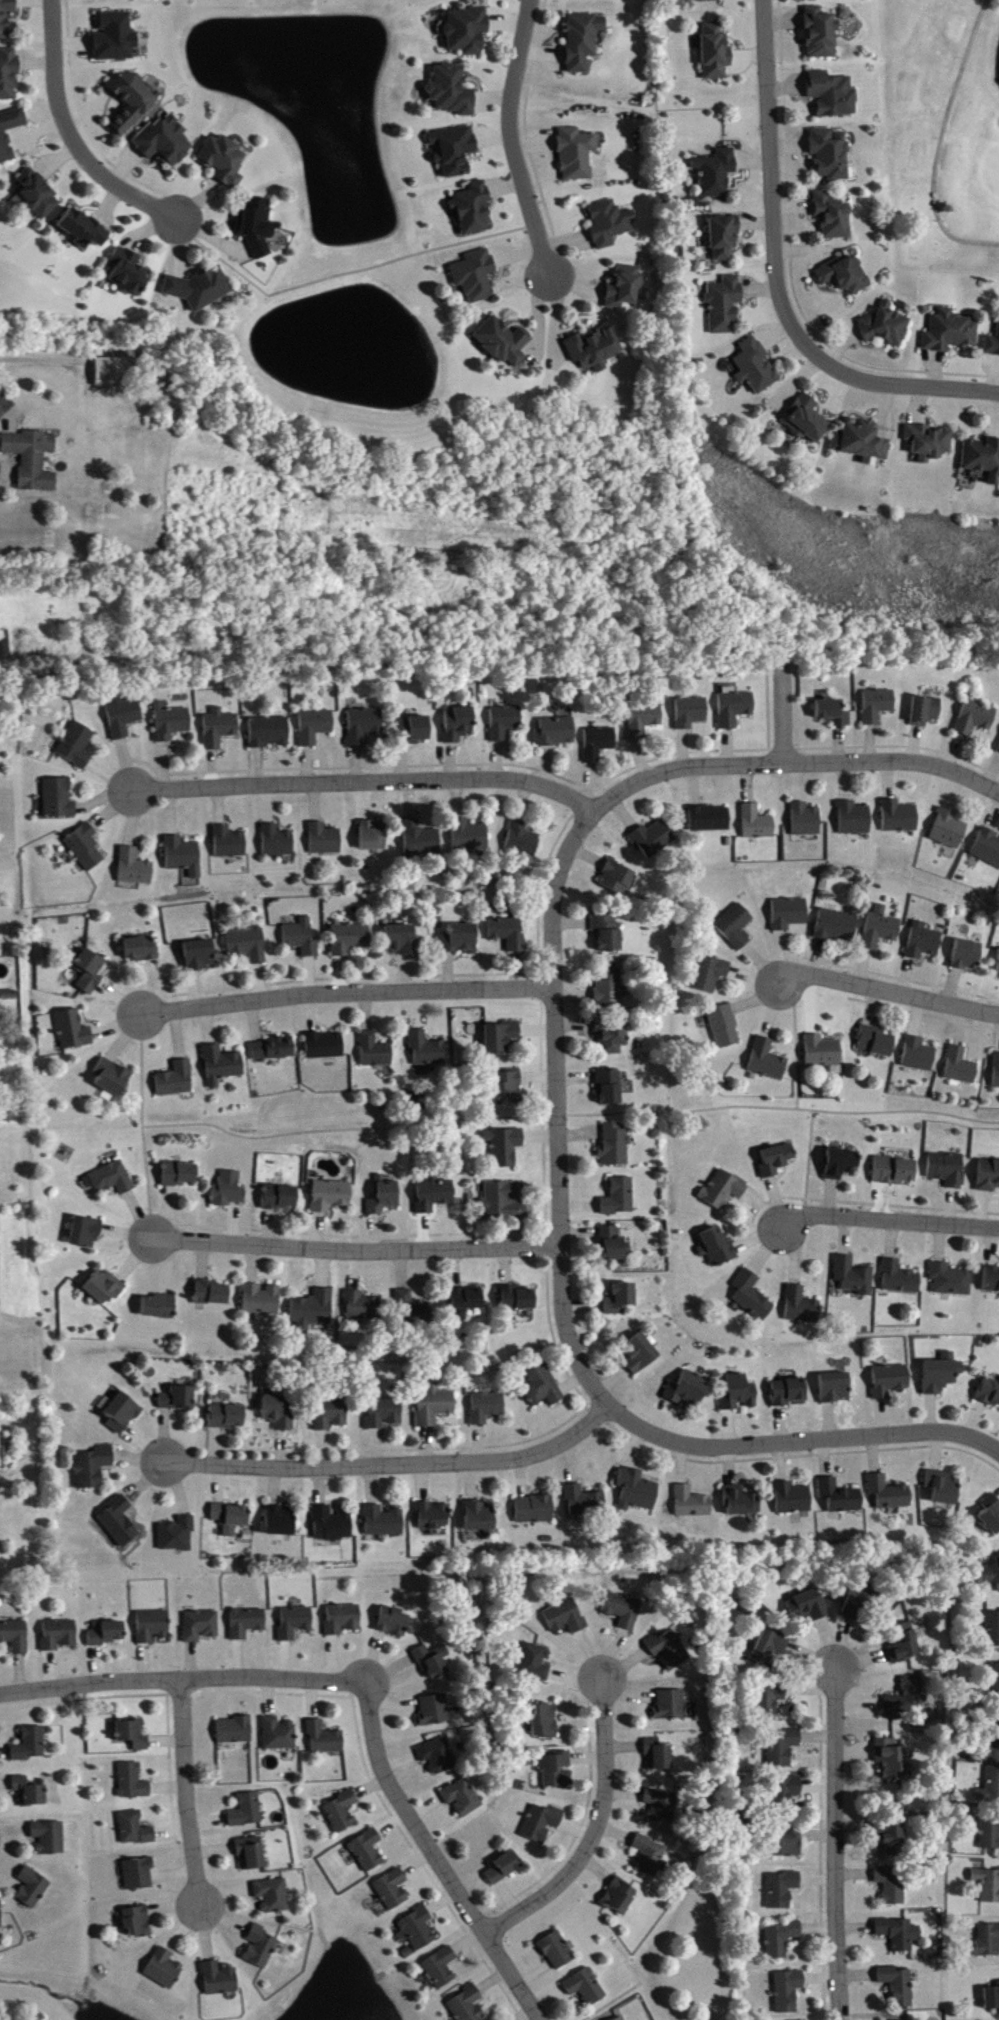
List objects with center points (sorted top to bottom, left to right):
building: (806, 0)
building: (709, 1)
building: (7, 18)
building: (468, 30)
building: (821, 34)
building: (115, 38)
building: (583, 41)
building: (716, 53)
building: (9, 74)
building: (453, 91)
building: (833, 95)
building: (131, 101)
park: (942, 133)
road: (71, 134)
road: (511, 138)
road: (945, 139)
building: (165, 142)
building: (6, 145)
building: (455, 150)
building: (576, 154)
building: (831, 154)
building: (225, 161)
building: (717, 173)
road: (771, 182)
building: (37, 196)
building: (473, 209)
building: (833, 217)
building: (610, 224)
building: (257, 226)
building: (83, 229)
building: (724, 238)
road: (342, 271)
building: (129, 272)
building: (845, 275)
building: (476, 276)
building: (200, 288)
building: (624, 288)
building: (725, 305)
building: (886, 327)
building: (950, 332)
building: (503, 342)
building: (992, 346)
building: (594, 350)
building: (755, 367)
building: (114, 368)
road: (903, 383)
road: (6, 420)
building: (807, 420)
building: (861, 440)
building: (929, 443)
building: (29, 456)
building: (982, 458)
building: (3, 640)
building: (877, 706)
building: (734, 707)
building: (925, 711)
building: (833, 712)
building: (691, 713)
building: (123, 717)
building: (975, 718)
building: (644, 720)
building: (171, 722)
building: (505, 722)
building: (459, 724)
building: (364, 725)
building: (316, 727)
building: (220, 729)
building: (412, 730)
building: (270, 732)
building: (556, 732)
building: (599, 743)
building: (77, 746)
building: (998, 751)
road: (793, 761)
road: (371, 781)
building: (59, 799)
building: (900, 817)
building: (710, 819)
building: (854, 819)
building: (806, 820)
building: (757, 824)
building: (949, 830)
building: (374, 835)
building: (469, 836)
building: (421, 839)
building: (325, 840)
building: (654, 840)
building: (522, 841)
building: (278, 842)
building: (230, 843)
building: (86, 848)
building: (987, 848)
building: (184, 856)
building: (135, 868)
building: (617, 879)
building: (789, 914)
building: (837, 926)
building: (736, 927)
building: (881, 929)
building: (509, 934)
building: (608, 934)
building: (302, 939)
building: (350, 939)
building: (460, 940)
building: (402, 941)
building: (924, 942)
building: (248, 945)
building: (141, 949)
building: (967, 955)
building: (200, 956)
building: (90, 972)
building: (711, 975)
building: (610, 987)
road: (888, 990)
road: (348, 991)
building: (725, 1027)
building: (74, 1031)
building: (612, 1037)
building: (502, 1038)
building: (876, 1042)
building: (326, 1046)
building: (274, 1050)
building: (428, 1050)
building: (376, 1052)
building: (823, 1052)
building: (919, 1055)
building: (768, 1061)
building: (222, 1066)
building: (961, 1067)
building: (996, 1072)
building: (112, 1080)
building: (177, 1080)
building: (509, 1086)
building: (610, 1088)
road: (557, 1108)
building: (505, 1147)
building: (616, 1147)
building: (777, 1160)
building: (841, 1164)
building: (948, 1170)
building: (895, 1171)
building: (181, 1175)
building: (989, 1176)
building: (113, 1179)
building: (724, 1190)
building: (230, 1191)
building: (435, 1195)
building: (332, 1196)
building: (384, 1196)
building: (281, 1198)
building: (620, 1198)
building: (503, 1202)
road: (889, 1222)
building: (85, 1233)
building: (614, 1246)
building: (717, 1247)
road: (358, 1251)
building: (854, 1277)
building: (900, 1279)
building: (951, 1280)
building: (992, 1280)
building: (104, 1287)
building: (212, 1294)
building: (752, 1296)
building: (517, 1299)
building: (620, 1299)
building: (261, 1300)
building: (467, 1300)
building: (160, 1307)
building: (363, 1307)
building: (802, 1307)
building: (413, 1308)
building: (314, 1312)
building: (639, 1353)
building: (942, 1374)
building: (890, 1381)
building: (543, 1388)
building: (835, 1388)
building: (687, 1390)
building: (789, 1393)
building: (739, 1394)
building: (989, 1394)
building: (178, 1399)
building: (435, 1406)
building: (487, 1408)
building: (280, 1413)
building: (384, 1413)
building: (122, 1414)
building: (331, 1415)
building: (227, 1417)
building: (6, 1440)
road: (799, 1441)
road: (400, 1462)
building: (92, 1468)
building: (943, 1488)
building: (637, 1491)
building: (888, 1495)
building: (841, 1498)
building: (793, 1499)
building: (585, 1502)
building: (741, 1503)
building: (692, 1504)
building: (535, 1510)
building: (991, 1515)
building: (435, 1517)
building: (232, 1518)
building: (481, 1518)
building: (119, 1522)
building: (281, 1522)
building: (384, 1522)
building: (332, 1525)
building: (178, 1535)
building: (990, 1576)
building: (859, 1602)
building: (809, 1607)
building: (624, 1610)
building: (566, 1618)
building: (343, 1620)
building: (393, 1622)
building: (248, 1623)
building: (296, 1623)
building: (153, 1626)
building: (202, 1627)
building: (993, 1629)
building: (107, 1634)
building: (59, 1635)
building: (15, 1636)
building: (904, 1644)
building: (769, 1648)
building: (669, 1650)
building: (434, 1662)
building: (535, 1663)
road: (184, 1679)
building: (995, 1680)
building: (908, 1698)
building: (771, 1699)
building: (671, 1706)
building: (437, 1711)
building: (545, 1722)
building: (235, 1731)
building: (996, 1731)
building: (279, 1735)
building: (133, 1736)
building: (325, 1739)
building: (31, 1745)
building: (783, 1747)
building: (659, 1756)
building: (439, 1757)
building: (891, 1760)
building: (557, 1770)
building: (133, 1782)
building: (990, 1787)
building: (30, 1792)
building: (788, 1793)
road: (186, 1794)
building: (463, 1798)
building: (662, 1807)
building: (247, 1811)
building: (341, 1813)
building: (542, 1824)
building: (135, 1830)
road: (598, 1831)
building: (990, 1833)
building: (50, 1838)
building: (893, 1840)
building: (787, 1844)
road: (836, 1846)
building: (368, 1851)
building: (251, 1854)
road: (440, 1856)
building: (650, 1856)
building: (505, 1869)
building: (139, 1874)
building: (893, 1885)
building: (988, 1885)
building: (32, 1888)
building: (393, 1890)
building: (783, 1890)
building: (273, 1896)
building: (620, 1897)
building: (1, 1919)
building: (137, 1922)
building: (418, 1930)
building: (900, 1934)
building: (783, 1940)
building: (989, 1941)
building: (261, 1948)
building: (558, 1951)
building: (441, 1969)
building: (165, 1970)
building: (220, 1980)
building: (900, 1986)
building: (587, 1988)
building: (789, 1992)
building: (992, 1998)
building: (467, 2005)
building: (622, 2019)

